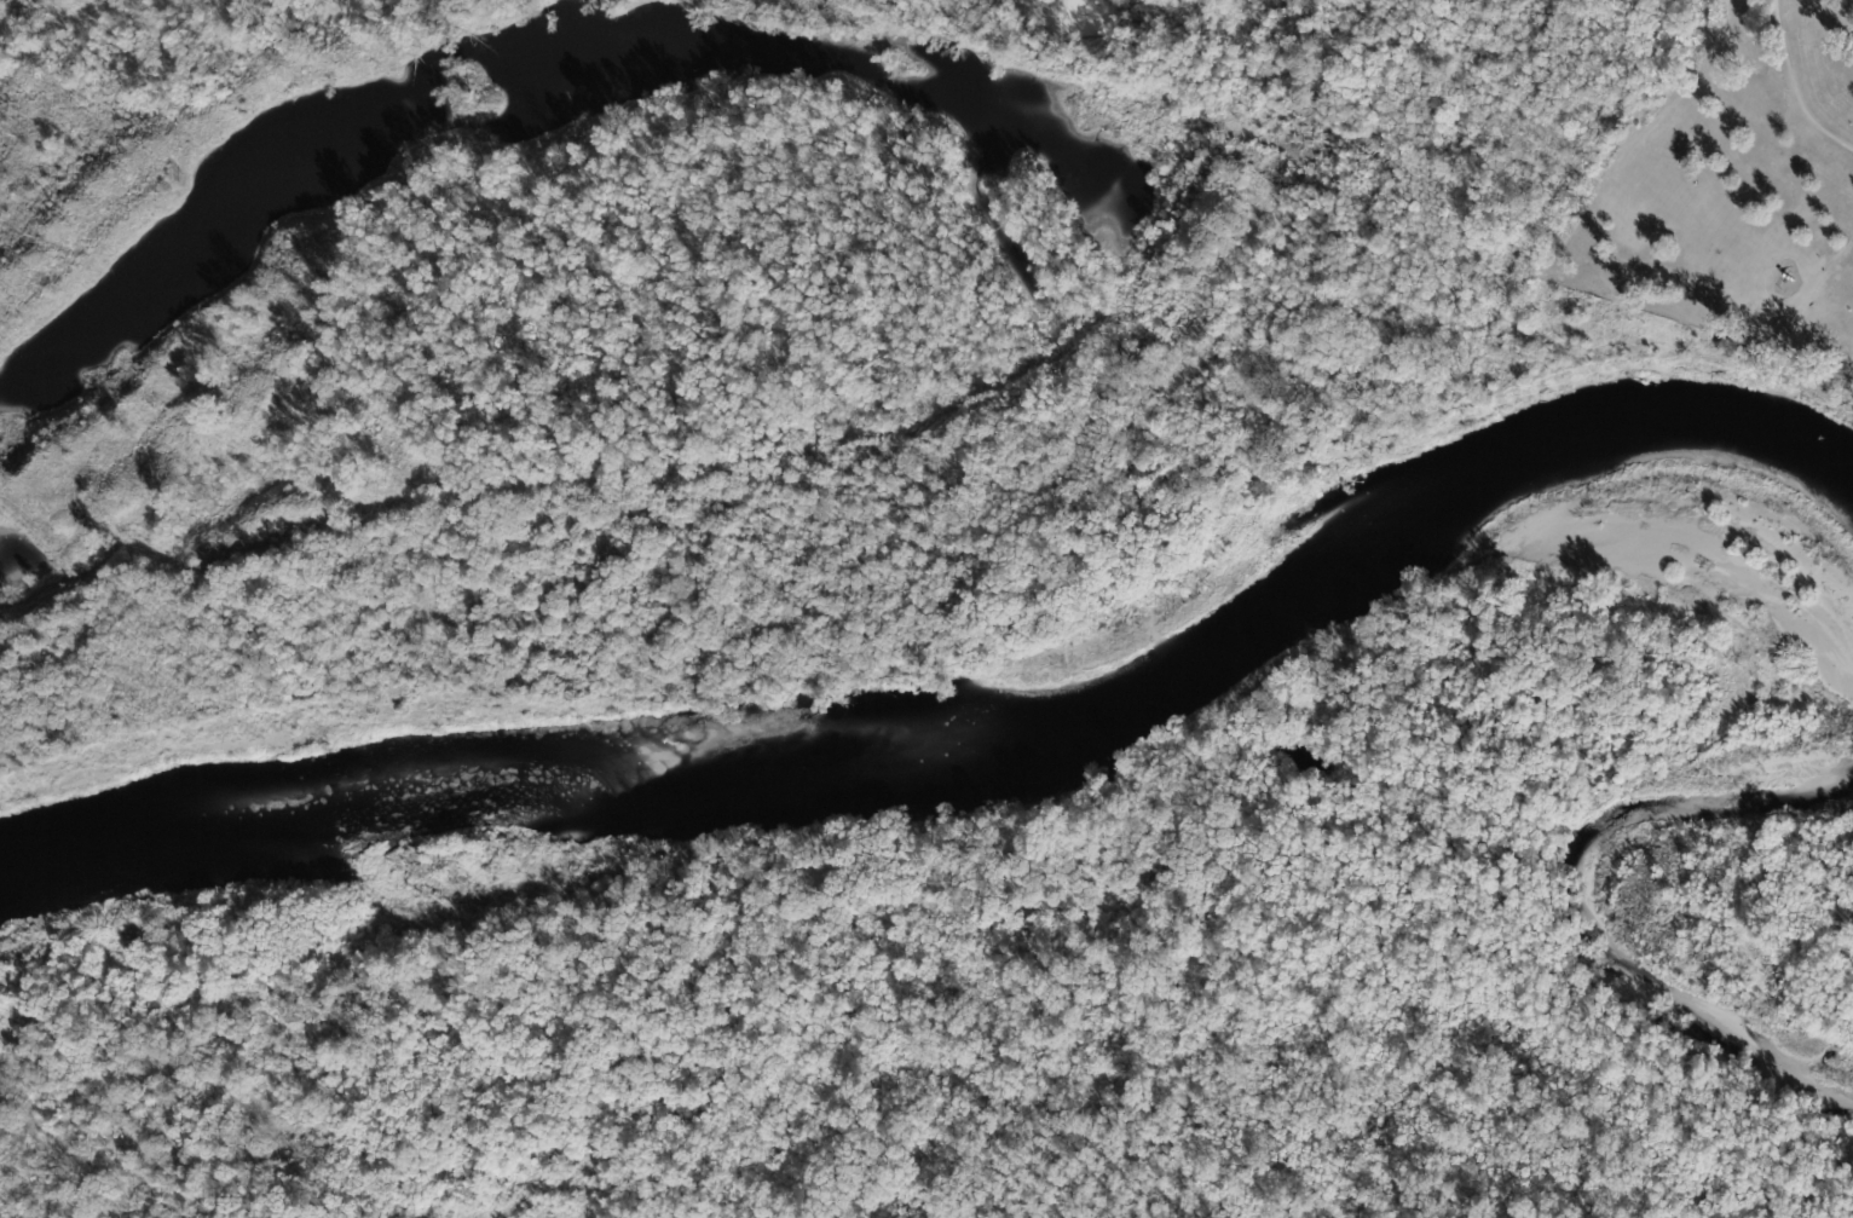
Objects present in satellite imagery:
park: (1736, 185)
road: (1799, 284)
river: (968, 731)

